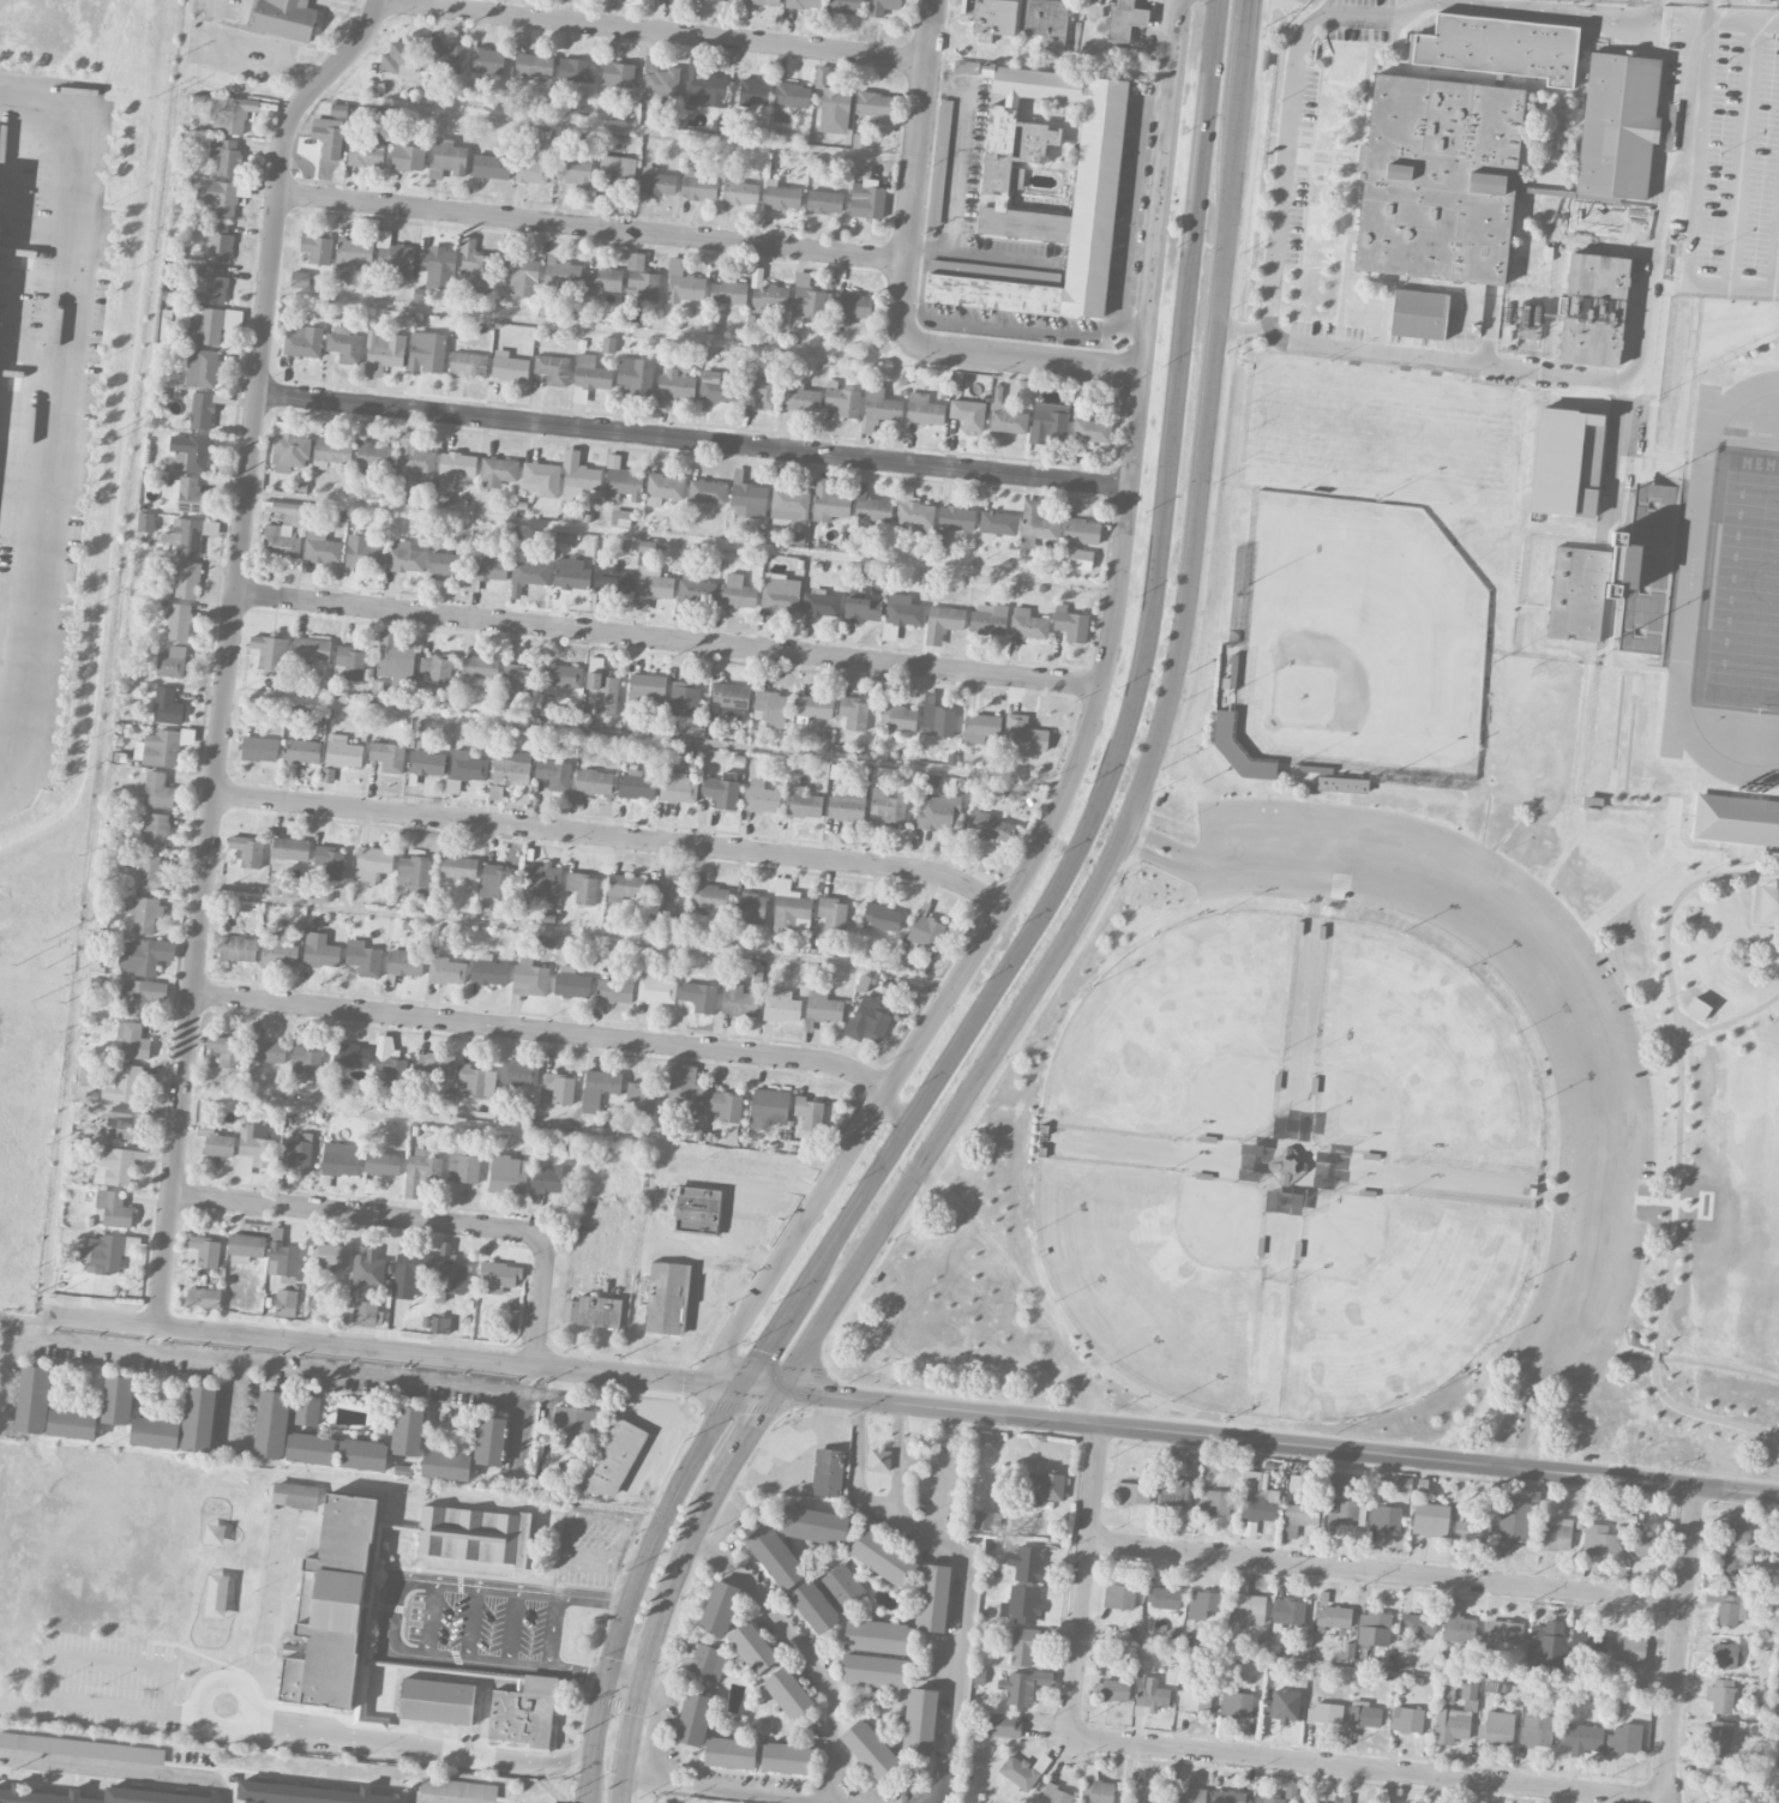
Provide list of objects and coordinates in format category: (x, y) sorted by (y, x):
building: (733, 0)
building: (763, 1)
building: (803, 4)
road: (1486, 5)
building: (845, 6)
building: (882, 6)
road: (1708, 8)
building: (993, 16)
building: (284, 18)
building: (1125, 19)
road: (1739, 19)
building: (1047, 22)
road: (659, 29)
building: (1499, 46)
building: (399, 58)
building: (445, 59)
building: (487, 60)
building: (534, 65)
road: (332, 67)
building: (576, 70)
building: (618, 73)
building: (822, 76)
building: (659, 80)
building: (704, 85)
building: (753, 91)
building: (792, 94)
road: (1697, 94)
building: (873, 103)
building: (834, 109)
road: (40, 114)
building: (230, 114)
building: (782, 116)
road: (613, 125)
building: (1617, 125)
building: (331, 132)
building: (365, 152)
road: (957, 155)
building: (226, 156)
building: (408, 157)
building: (447, 157)
road: (1286, 157)
building: (939, 161)
building: (491, 166)
building: (572, 169)
building: (617, 169)
building: (531, 170)
road: (916, 172)
building: (1438, 178)
building: (656, 181)
building: (0, 182)
building: (697, 186)
building: (1044, 191)
building: (740, 192)
building: (781, 196)
building: (223, 197)
building: (866, 199)
building: (824, 202)
road: (1690, 212)
building: (1617, 221)
road: (595, 227)
building: (0, 234)
building: (220, 242)
building: (317, 248)
road: (984, 253)
building: (351, 256)
building: (393, 257)
building: (437, 268)
building: (475, 269)
building: (561, 272)
building: (521, 275)
building: (300, 278)
building: (641, 278)
building: (603, 280)
building: (209, 283)
building: (684, 284)
building: (728, 292)
building: (767, 293)
building: (809, 299)
building: (853, 306)
building: (1593, 308)
road: (1123, 311)
building: (631, 312)
building: (1418, 312)
building: (1529, 320)
road: (601, 324)
building: (209, 325)
road: (1135, 330)
building: (302, 341)
building: (344, 344)
building: (608, 344)
building: (384, 351)
building: (426, 351)
road: (1027, 359)
road: (1484, 362)
building: (468, 363)
building: (509, 367)
building: (202, 368)
building: (553, 368)
building: (591, 373)
building: (633, 375)
building: (673, 386)
building: (715, 387)
building: (759, 391)
building: (800, 397)
building: (842, 399)
building: (882, 404)
building: (924, 409)
building: (202, 410)
building: (968, 414)
building: (1008, 420)
building: (1048, 422)
building: (1092, 431)
road: (695, 439)
park: (1454, 445)
building: (289, 449)
road: (43, 451)
building: (190, 451)
building: (331, 451)
building: (374, 457)
building: (414, 463)
building: (1567, 463)
building: (456, 465)
building: (498, 471)
building: (577, 475)
building: (541, 479)
building: (623, 485)
building: (663, 488)
building: (707, 491)
building: (188, 494)
building: (750, 499)
building: (829, 503)
building: (789, 504)
building: (872, 509)
building: (913, 512)
building: (956, 517)
building: (145, 522)
building: (998, 522)
building: (1035, 524)
building: (1081, 530)
building: (283, 531)
building: (190, 534)
road: (684, 536)
building: (320, 545)
building: (362, 552)
building: (404, 557)
building: (1081, 559)
building: (447, 564)
building: (488, 566)
building: (1647, 566)
building: (529, 569)
track: (1689, 570)
building: (571, 572)
road: (1120, 572)
building: (185, 578)
building: (613, 581)
stadium: (1679, 585)
park: (1739, 585)
building: (651, 588)
building: (696, 589)
building: (737, 591)
building: (780, 593)
building: (1579, 593)
building: (821, 603)
building: (863, 609)
building: (903, 611)
building: (988, 618)
building: (178, 621)
building: (942, 623)
building: (1070, 624)
building: (1026, 625)
park: (1359, 636)
road: (668, 638)
building: (309, 649)
building: (270, 650)
building: (395, 655)
road: (113, 657)
building: (172, 662)
building: (349, 663)
building: (479, 667)
building: (437, 669)
building: (561, 677)
building: (518, 679)
road: (1136, 680)
building: (647, 686)
building: (601, 690)
building: (729, 695)
building: (684, 699)
building: (167, 705)
building: (770, 708)
building: (813, 708)
building: (853, 713)
building: (896, 714)
building: (937, 717)
building: (980, 727)
road: (221, 731)
building: (1023, 734)
road: (649, 735)
building: (161, 746)
building: (259, 749)
building: (301, 751)
building: (342, 751)
building: (387, 756)
building: (426, 762)
building: (467, 767)
building: (511, 768)
building: (553, 771)
building: (327, 774)
building: (594, 781)
building: (1342, 783)
building: (636, 785)
building: (677, 787)
building: (158, 791)
building: (721, 792)
building: (759, 797)
building: (848, 801)
building: (803, 803)
building: (887, 807)
building: (937, 811)
building: (1737, 818)
building: (990, 827)
building: (156, 831)
road: (614, 836)
road: (1162, 840)
building: (290, 848)
building: (248, 851)
road: (1154, 859)
building: (329, 863)
building: (372, 864)
building: (458, 867)
building: (414, 870)
building: (151, 873)
building: (542, 879)
building: (494, 881)
building: (625, 885)
building: (582, 887)
building: (709, 896)
building: (663, 900)
building: (750, 906)
building: (791, 907)
building: (144, 913)
building: (831, 914)
building: (881, 916)
road: (579, 930)
building: (926, 931)
road: (1066, 946)
building: (238, 949)
building: (320, 950)
building: (277, 951)
building: (145, 955)
building: (363, 957)
building: (405, 963)
road: (1580, 967)
building: (488, 969)
building: (446, 970)
building: (529, 978)
building: (571, 982)
building: (656, 987)
building: (614, 991)
road: (1541, 993)
building: (140, 996)
building: (699, 997)
building: (739, 1000)
building: (781, 1005)
building: (823, 1006)
building: (867, 1021)
road: (542, 1029)
road: (1701, 1029)
park: (1180, 1033)
building: (134, 1041)
building: (222, 1050)
building: (266, 1051)
building: (351, 1056)
park: (1416, 1059)
building: (390, 1062)
building: (435, 1063)
building: (306, 1064)
building: (518, 1072)
building: (477, 1081)
building: (124, 1083)
building: (560, 1087)
building: (599, 1088)
building: (685, 1088)
road: (885, 1094)
building: (643, 1099)
parking lot: (1603, 1099)
building: (726, 1106)
building: (769, 1106)
building: (809, 1112)
road: (894, 1112)
building: (125, 1123)
road: (510, 1129)
park: (1384, 1138)
building: (216, 1141)
building: (253, 1150)
building: (296, 1150)
building: (1249, 1154)
road: (1677, 1155)
building: (339, 1159)
building: (383, 1162)
building: (1286, 1162)
building: (114, 1166)
building: (421, 1168)
building: (462, 1170)
building: (507, 1173)
building: (549, 1180)
road: (1604, 1195)
road: (1652, 1200)
building: (114, 1208)
building: (697, 1209)
road: (419, 1219)
park: (1741, 1234)
road: (793, 1240)
building: (246, 1246)
building: (109, 1251)
building: (205, 1251)
building: (283, 1260)
building: (367, 1269)
park: (1155, 1270)
building: (409, 1273)
building: (449, 1273)
building: (498, 1276)
building: (203, 1297)
building: (666, 1297)
park: (1394, 1297)
building: (286, 1303)
building: (593, 1311)
building: (367, 1312)
building: (440, 1324)
road: (775, 1332)
traffic signals: (741, 1384)
traffic signals: (783, 1390)
building: (34, 1399)
building: (118, 1399)
road: (908, 1402)
building: (306, 1408)
road: (1510, 1413)
road: (1529, 1414)
building: (198, 1418)
building: (72, 1423)
building: (271, 1424)
building: (573, 1424)
building: (407, 1430)
building: (155, 1432)
building: (489, 1441)
building: (311, 1448)
building: (362, 1454)
building: (614, 1458)
road: (900, 1458)
building: (879, 1460)
road: (1513, 1461)
building: (446, 1465)
building: (828, 1472)
building: (1338, 1482)
building: (1404, 1484)
building: (1044, 1488)
building: (1172, 1490)
building: (1131, 1492)
building: (295, 1495)
building: (1258, 1497)
building: (1214, 1502)
building: (1342, 1510)
building: (1302, 1513)
building: (1384, 1517)
building: (1430, 1519)
building: (986, 1520)
building: (1513, 1523)
building: (813, 1525)
building: (1739, 1527)
building: (1472, 1531)
building: (1556, 1534)
building: (474, 1535)
building: (1599, 1539)
building: (1641, 1543)
building: (775, 1556)
building: (882, 1557)
building: (1027, 1563)
building: (1736, 1568)
road: (966, 1569)
road: (1387, 1570)
road: (1084, 1580)
road: (636, 1583)
building: (842, 1586)
building: (1119, 1595)
building: (932, 1597)
building: (1164, 1598)
building: (1246, 1601)
building: (1022, 1603)
building: (1202, 1604)
building: (333, 1606)
building: (813, 1606)
road: (390, 1607)
building: (720, 1607)
building: (1729, 1607)
building: (1288, 1611)
building: (1333, 1617)
road: (433, 1619)
building: (1418, 1622)
road: (473, 1623)
building: (1456, 1623)
road: (512, 1628)
building: (1374, 1628)
building: (1504, 1630)
road: (553, 1633)
building: (877, 1636)
road: (1679, 1640)
building: (1600, 1643)
building: (1023, 1646)
building: (1546, 1646)
building: (752, 1647)
building: (1630, 1649)
building: (1724, 1654)
building: (708, 1661)
building: (873, 1671)
road: (50, 1684)
building: (1022, 1685)
road: (234, 1688)
building: (1116, 1690)
building: (1468, 1690)
building: (788, 1693)
building: (1150, 1693)
building: (1446, 1694)
building: (1720, 1695)
building: (1194, 1696)
building: (437, 1701)
building: (1234, 1702)
building: (1282, 1705)
building: (523, 1712)
building: (1326, 1713)
building: (1364, 1713)
building: (693, 1719)
building: (1407, 1719)
building: (374, 1720)
building: (919, 1721)
building: (1002, 1725)
building: (1450, 1725)
building: (1496, 1727)
building: (1535, 1729)
building: (1582, 1737)
building: (1624, 1738)
building: (1720, 1739)
road: (414, 1744)
building: (82, 1748)
building: (871, 1750)
building: (729, 1753)
building: (786, 1757)
road: (1365, 1767)
building: (1022, 1772)
road: (635, 1777)
road: (830, 1779)
building: (1721, 1783)
building: (1096, 1787)
building: (458, 1789)
building: (309, 1792)
building: (40, 1793)
building: (1165, 1793)
building: (1056, 1795)
building: (1227, 1796)
road: (872, 1798)
building: (1268, 1798)
building: (1345, 1798)
road: (432, 1801)
building: (1303, 1802)

